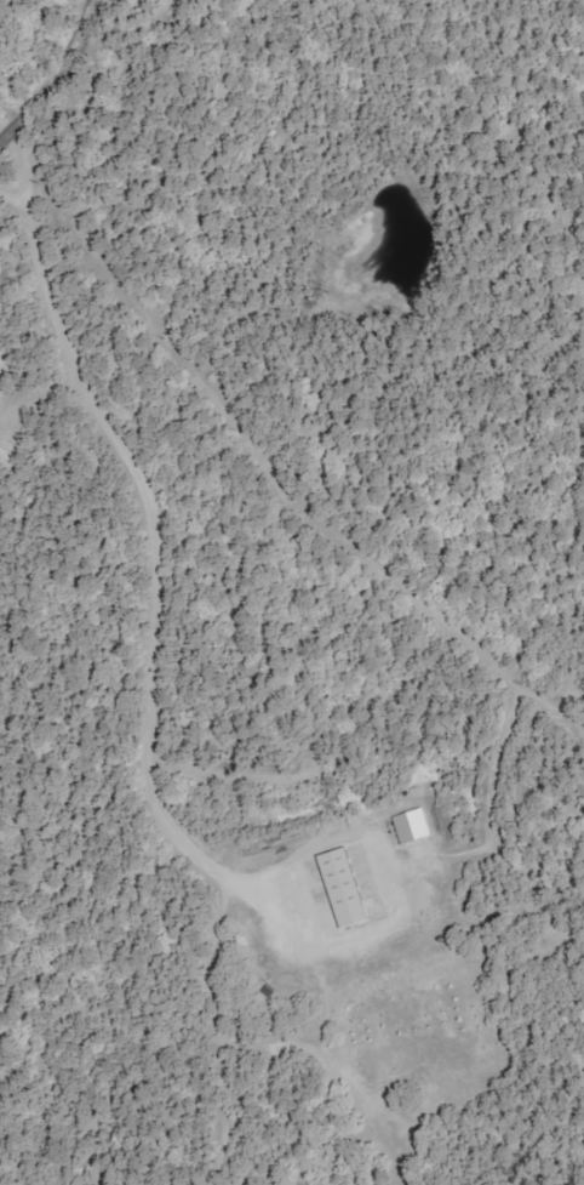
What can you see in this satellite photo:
road: (47, 69)
building: (1, 363)
road: (153, 532)
building: (416, 826)
building: (349, 888)

